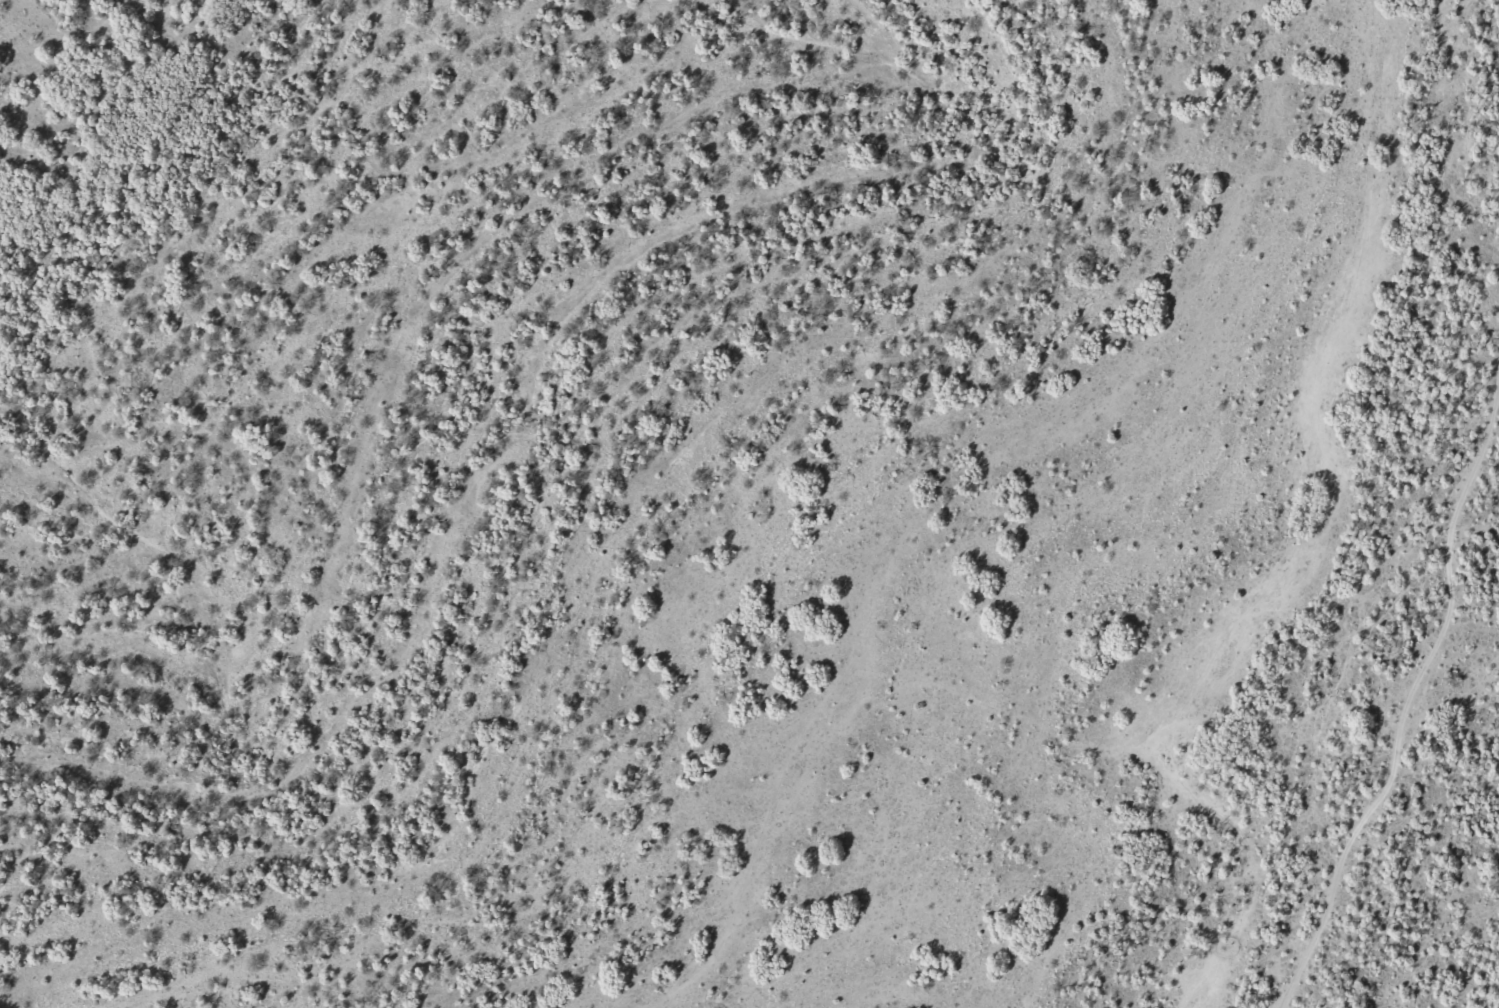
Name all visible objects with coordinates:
road: (1378, 659)

